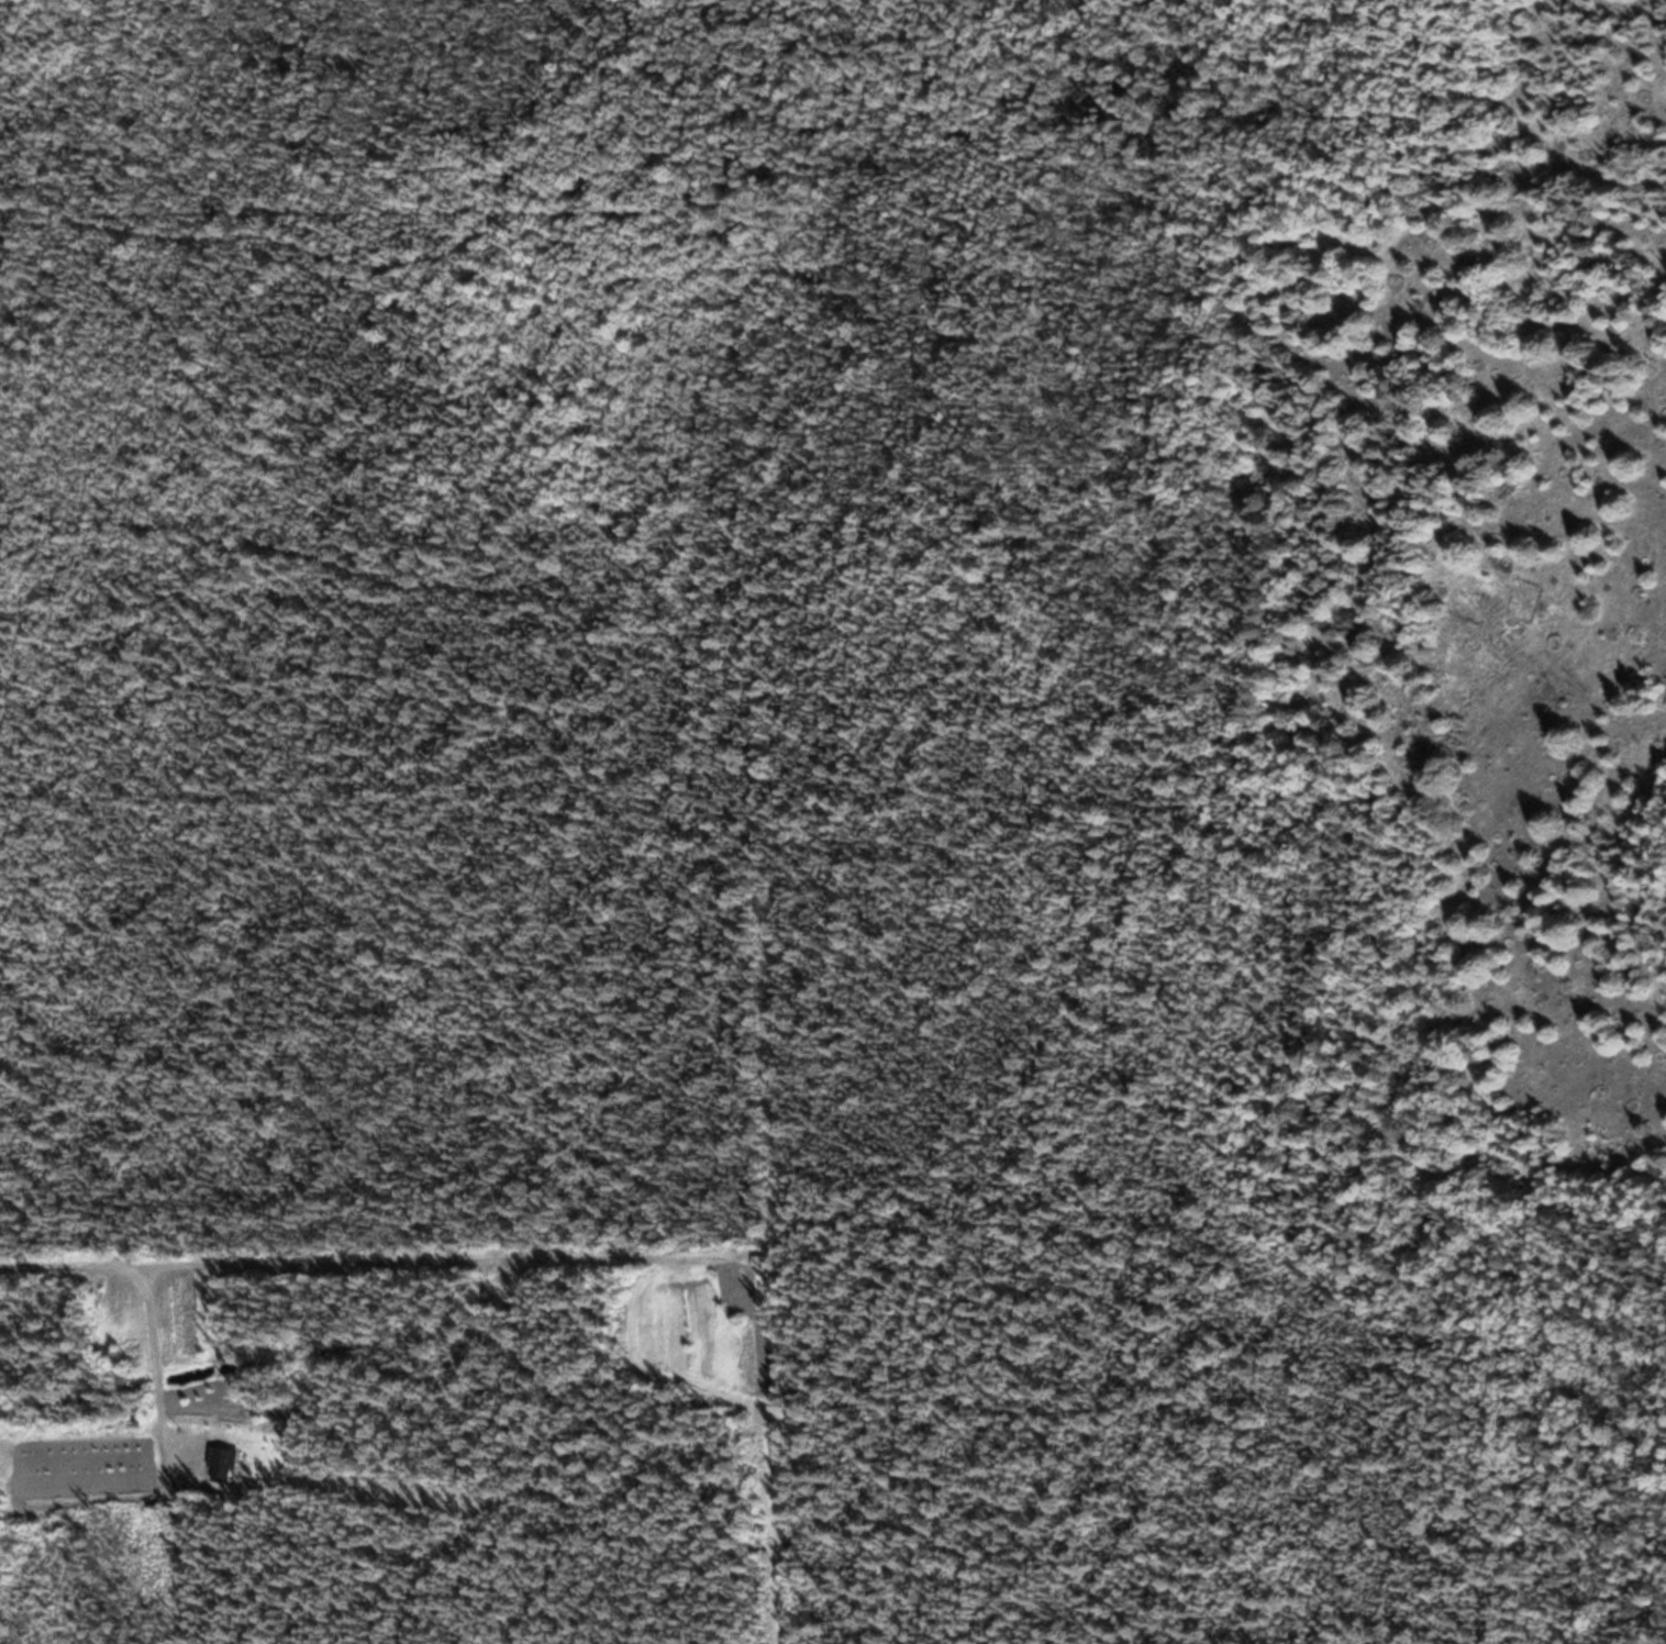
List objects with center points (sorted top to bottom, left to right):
building: (762, 1262)

